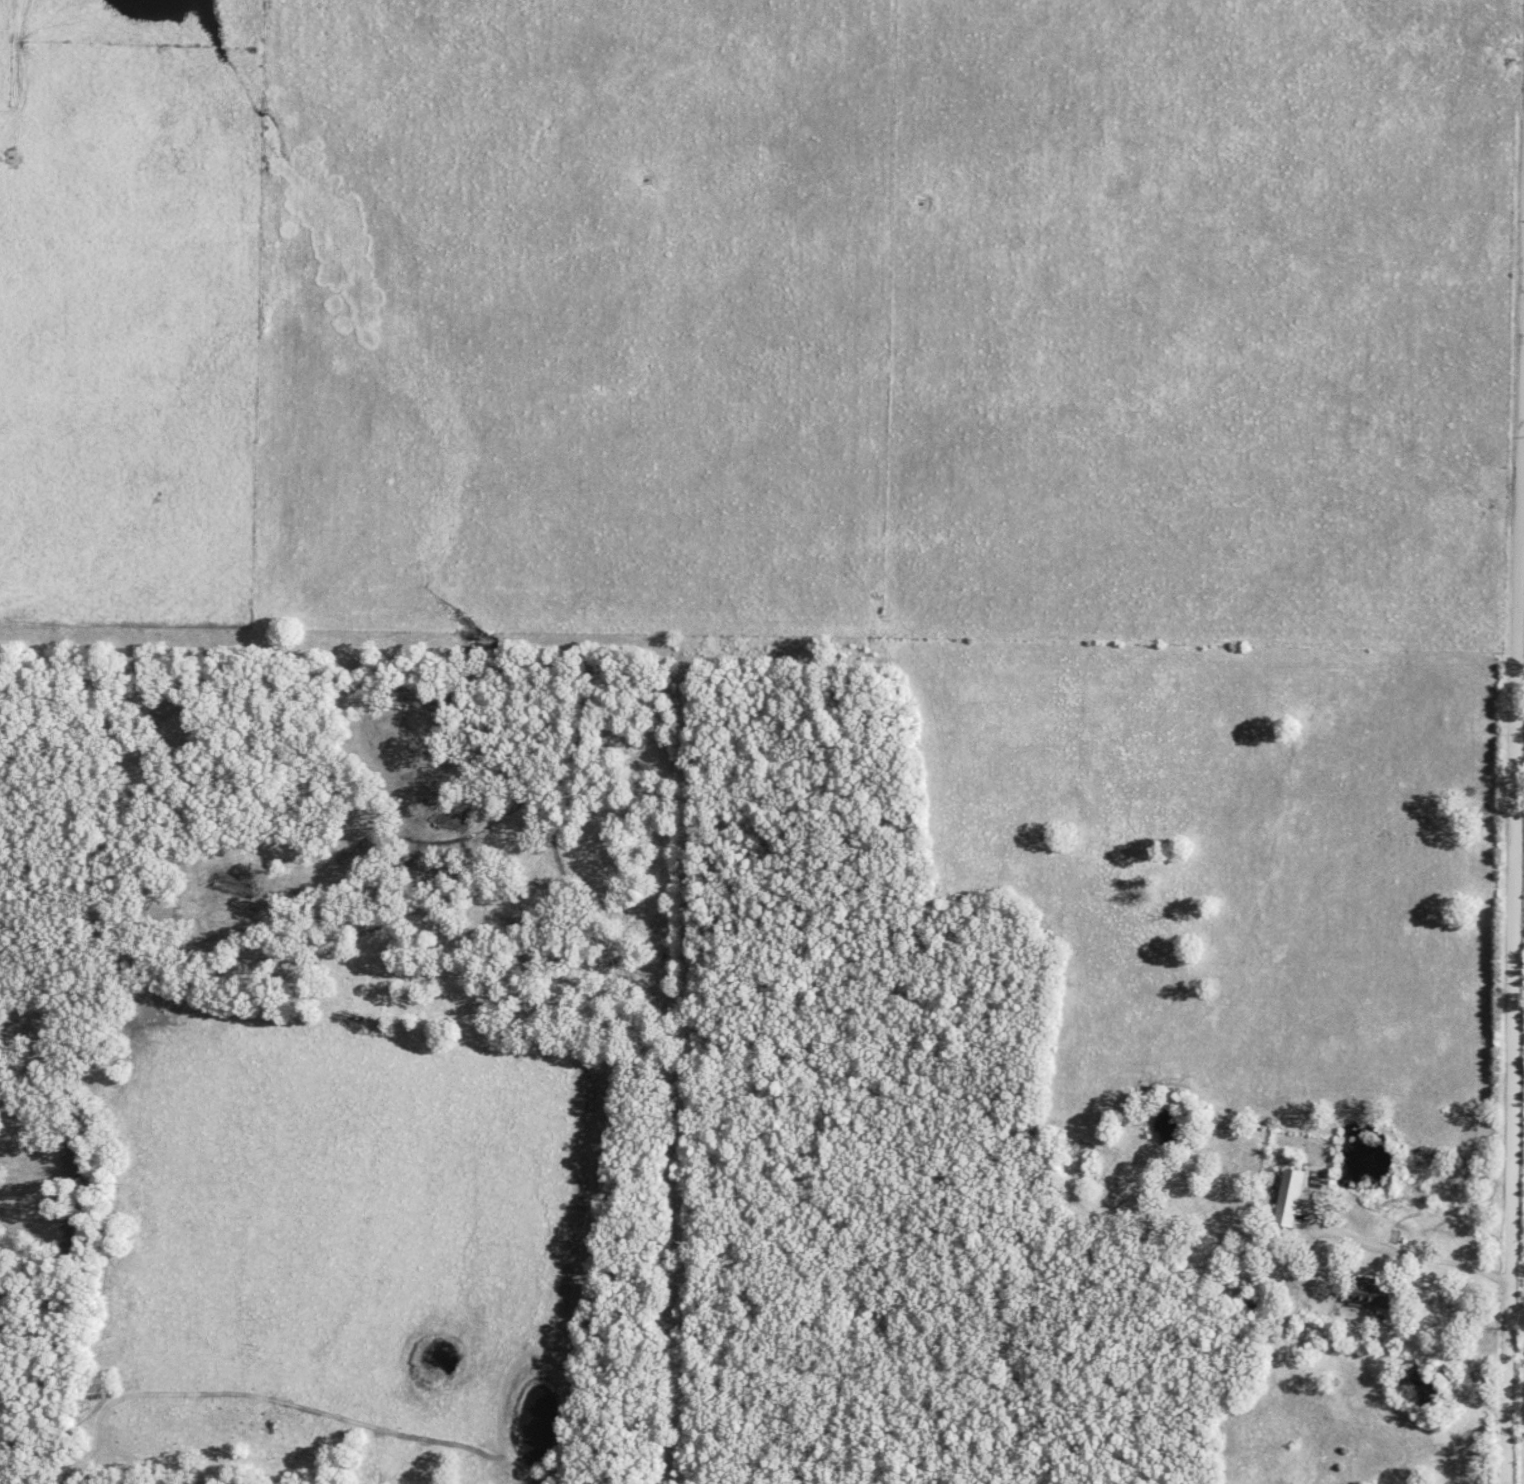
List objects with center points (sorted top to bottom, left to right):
road: (1517, 1058)
building: (1288, 1199)
road: (1415, 1246)
building: (1369, 1298)

